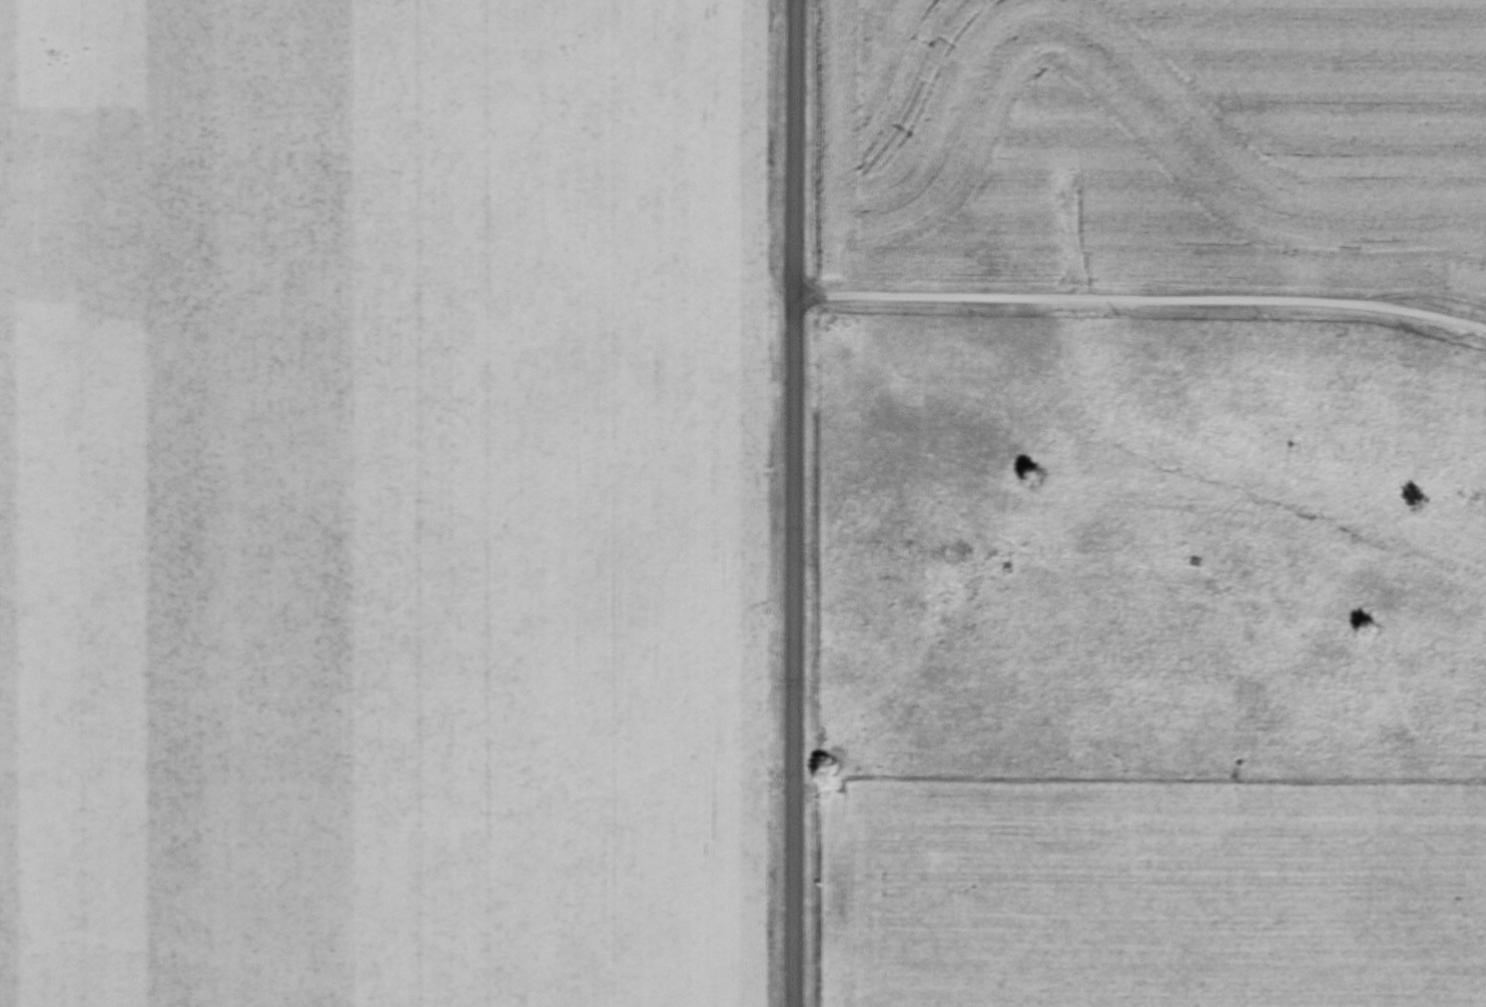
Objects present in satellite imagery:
road: (1139, 299)
road: (789, 503)

